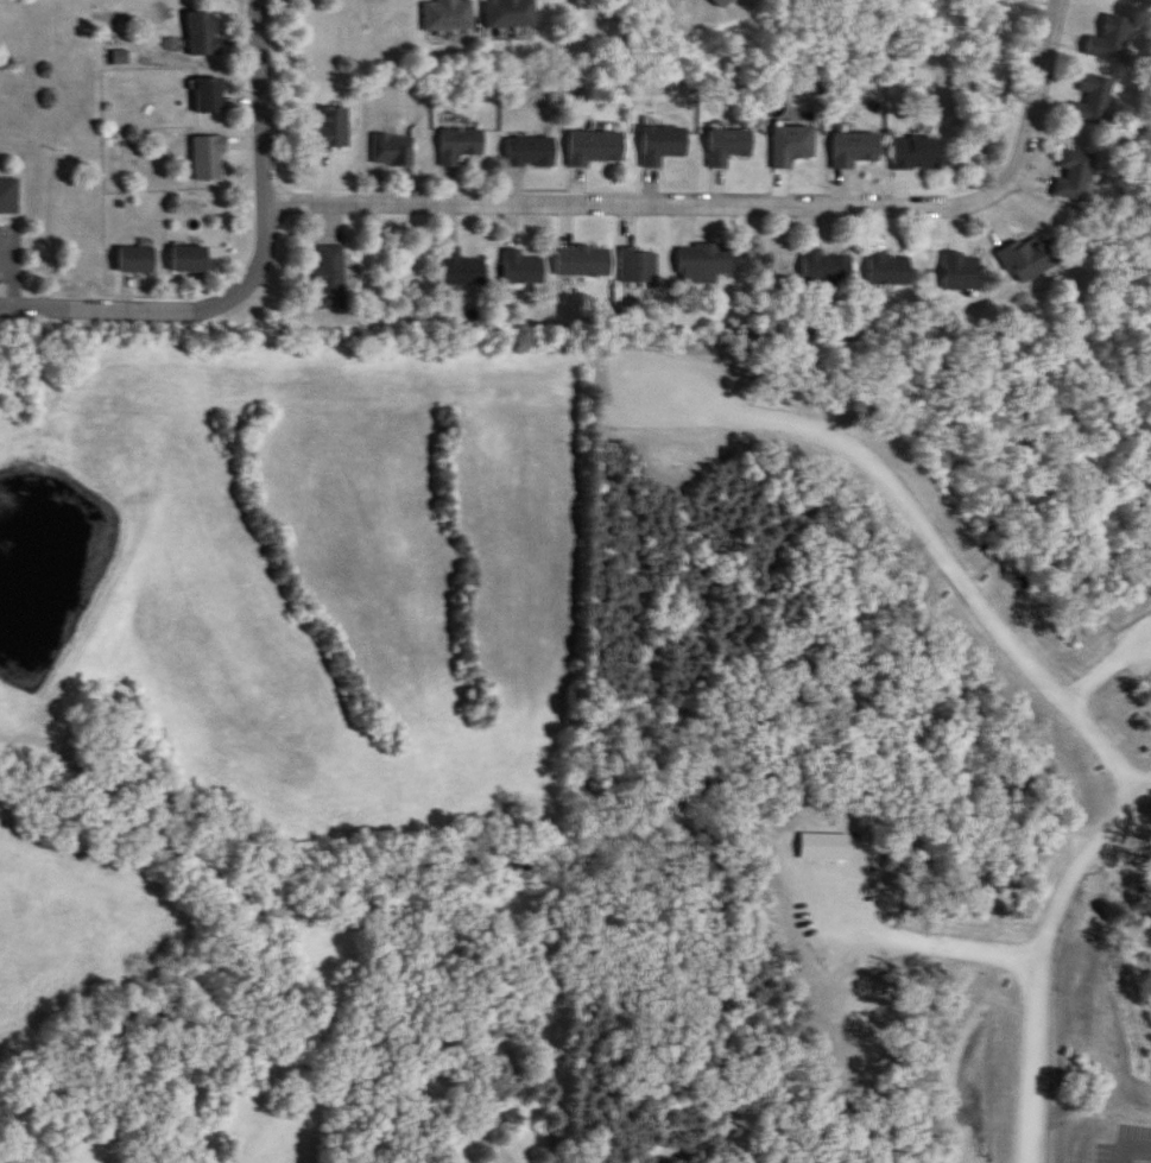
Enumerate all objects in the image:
building: (725, 2)
building: (512, 13)
building: (450, 14)
building: (203, 32)
building: (1111, 39)
building: (209, 95)
building: (1090, 100)
building: (331, 128)
building: (461, 144)
building: (664, 144)
building: (792, 145)
building: (729, 146)
building: (596, 147)
building: (856, 148)
building: (394, 150)
building: (531, 151)
building: (919, 153)
building: (209, 158)
building: (1073, 175)
building: (10, 196)
road: (733, 201)
building: (1027, 257)
building: (191, 258)
building: (138, 259)
building: (584, 260)
building: (707, 260)
building: (640, 266)
road: (255, 267)
building: (462, 267)
building: (828, 267)
building: (523, 268)
building: (890, 270)
building: (963, 271)
building: (330, 277)
parking lot: (675, 412)
road: (934, 517)
road: (1101, 671)
parking lot: (1092, 675)
road: (665, 746)
park: (860, 757)
road: (670, 906)
parking lot: (817, 927)
road: (907, 933)
road: (1045, 950)
road: (963, 1018)
road: (625, 1035)
road: (732, 1054)
building: (821, 1073)
road: (909, 1089)
road: (1128, 1140)
parking lot: (1132, 1140)

